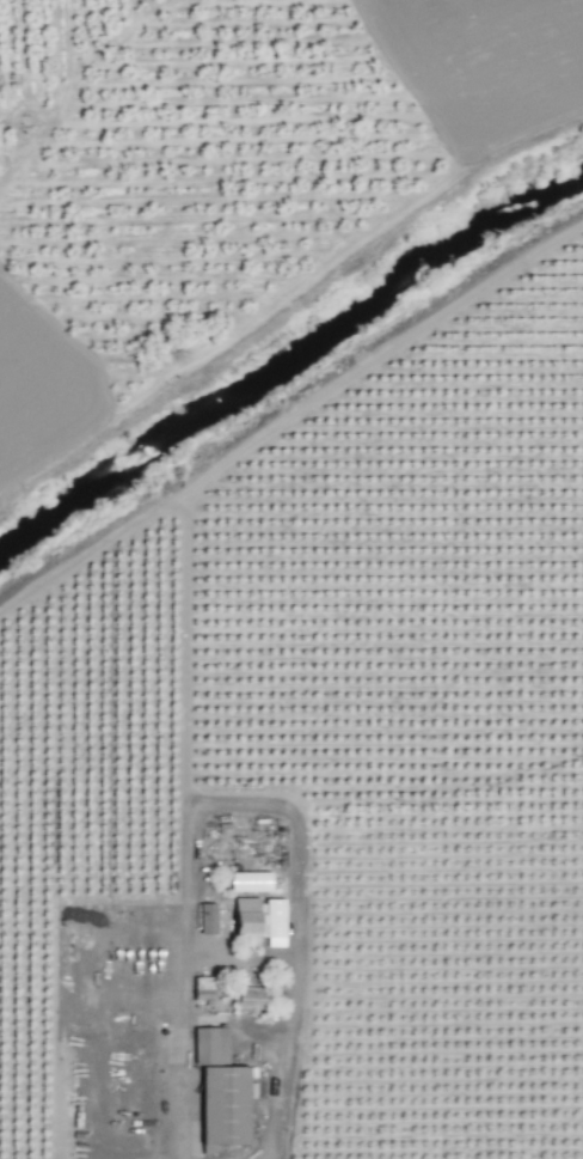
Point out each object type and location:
road: (275, 806)
building: (248, 880)
building: (258, 919)
building: (207, 920)
building: (203, 988)
building: (251, 998)
building: (219, 1091)
road: (147, 1127)
road: (189, 1131)

